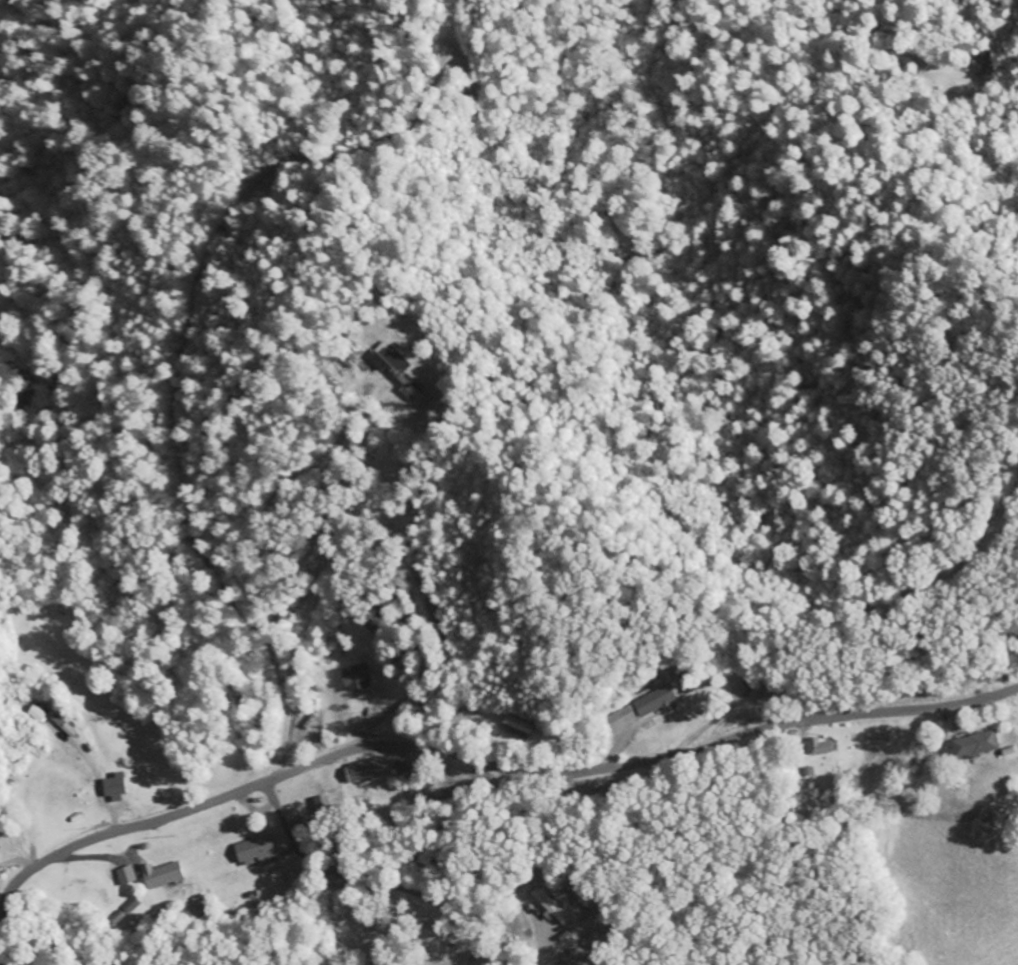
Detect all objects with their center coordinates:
building: (393, 369)
building: (354, 678)
building: (654, 701)
building: (36, 714)
building: (621, 719)
building: (63, 725)
building: (518, 726)
building: (975, 745)
building: (819, 747)
road: (471, 759)
building: (364, 770)
building: (114, 788)
building: (0, 848)
building: (256, 851)
building: (126, 875)
building: (161, 875)
road: (369, 878)
building: (132, 905)
building: (551, 906)
road: (356, 915)

